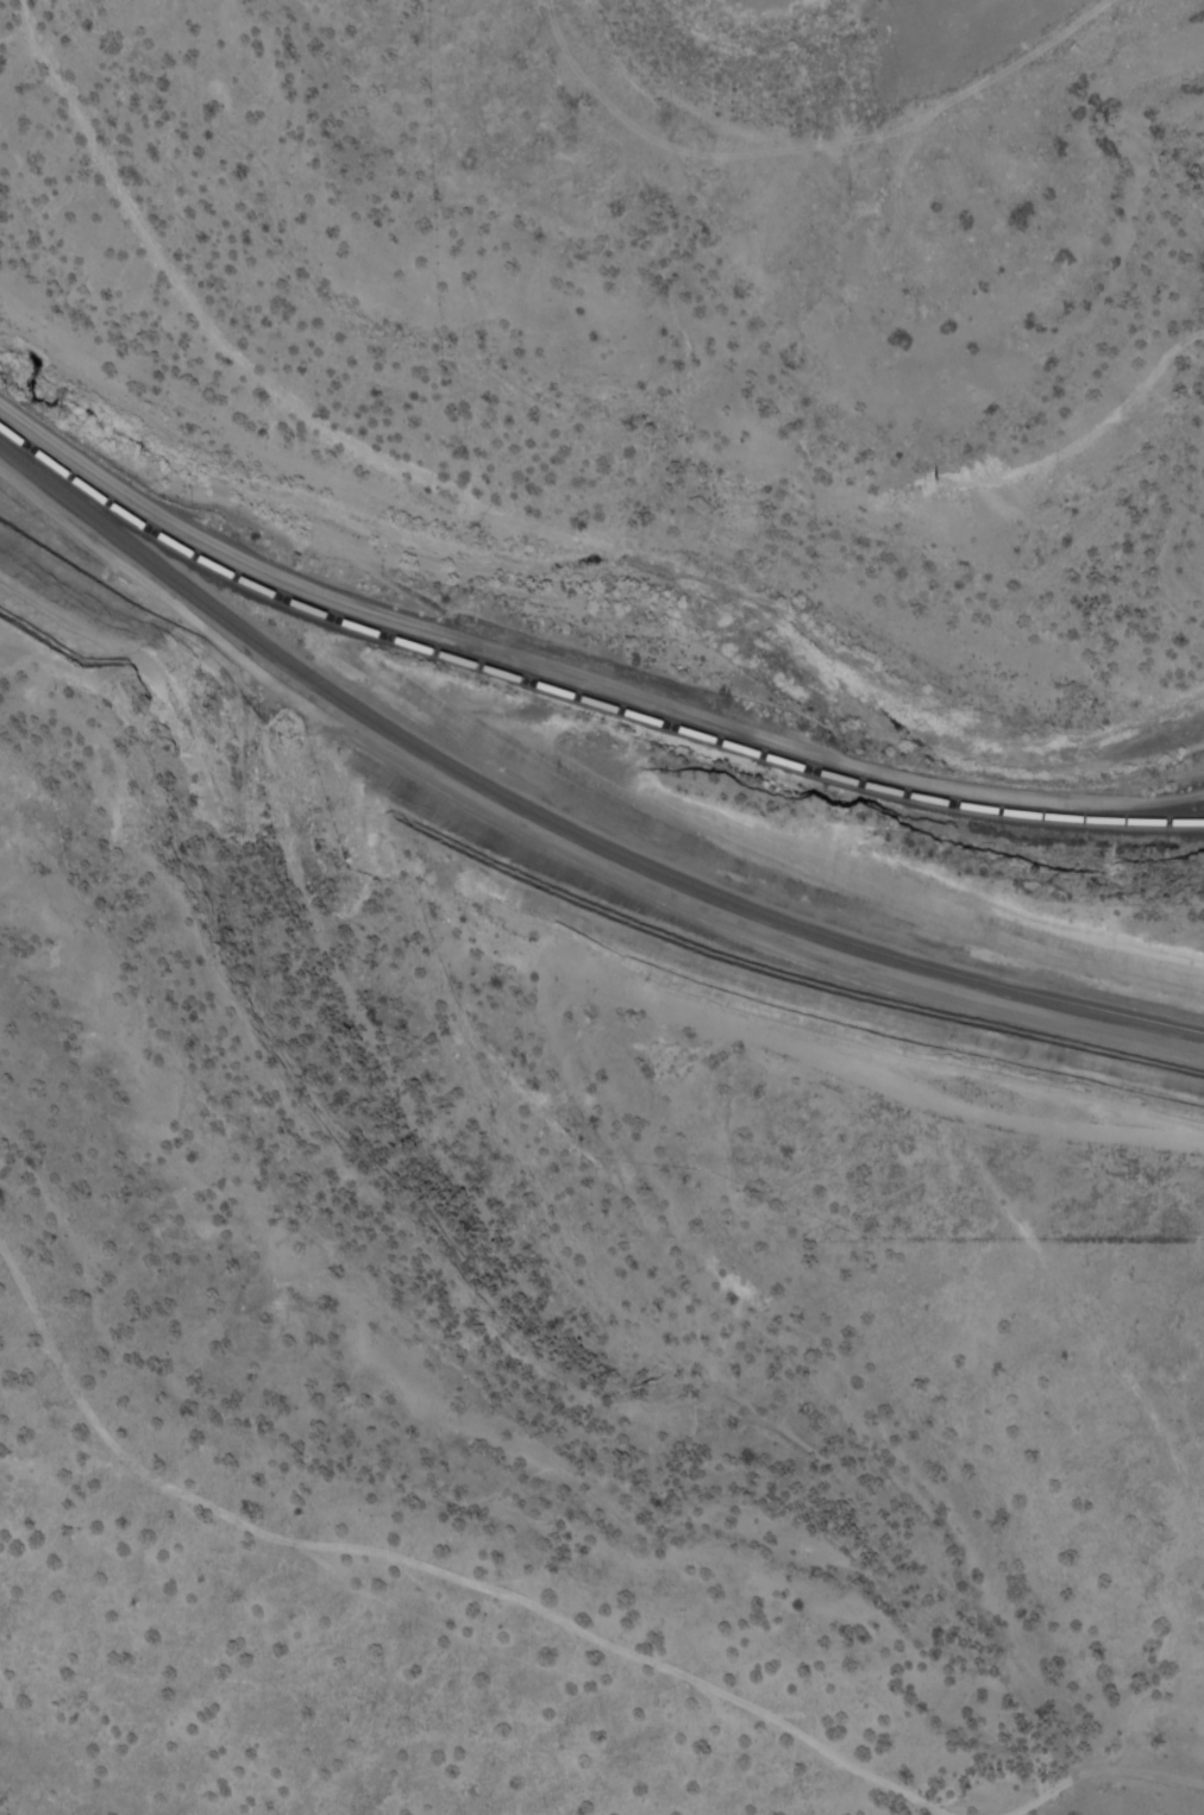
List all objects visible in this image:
quarry: (1018, 90)
railway: (577, 701)
railway: (560, 830)
road: (444, 1570)
road: (1098, 1770)

